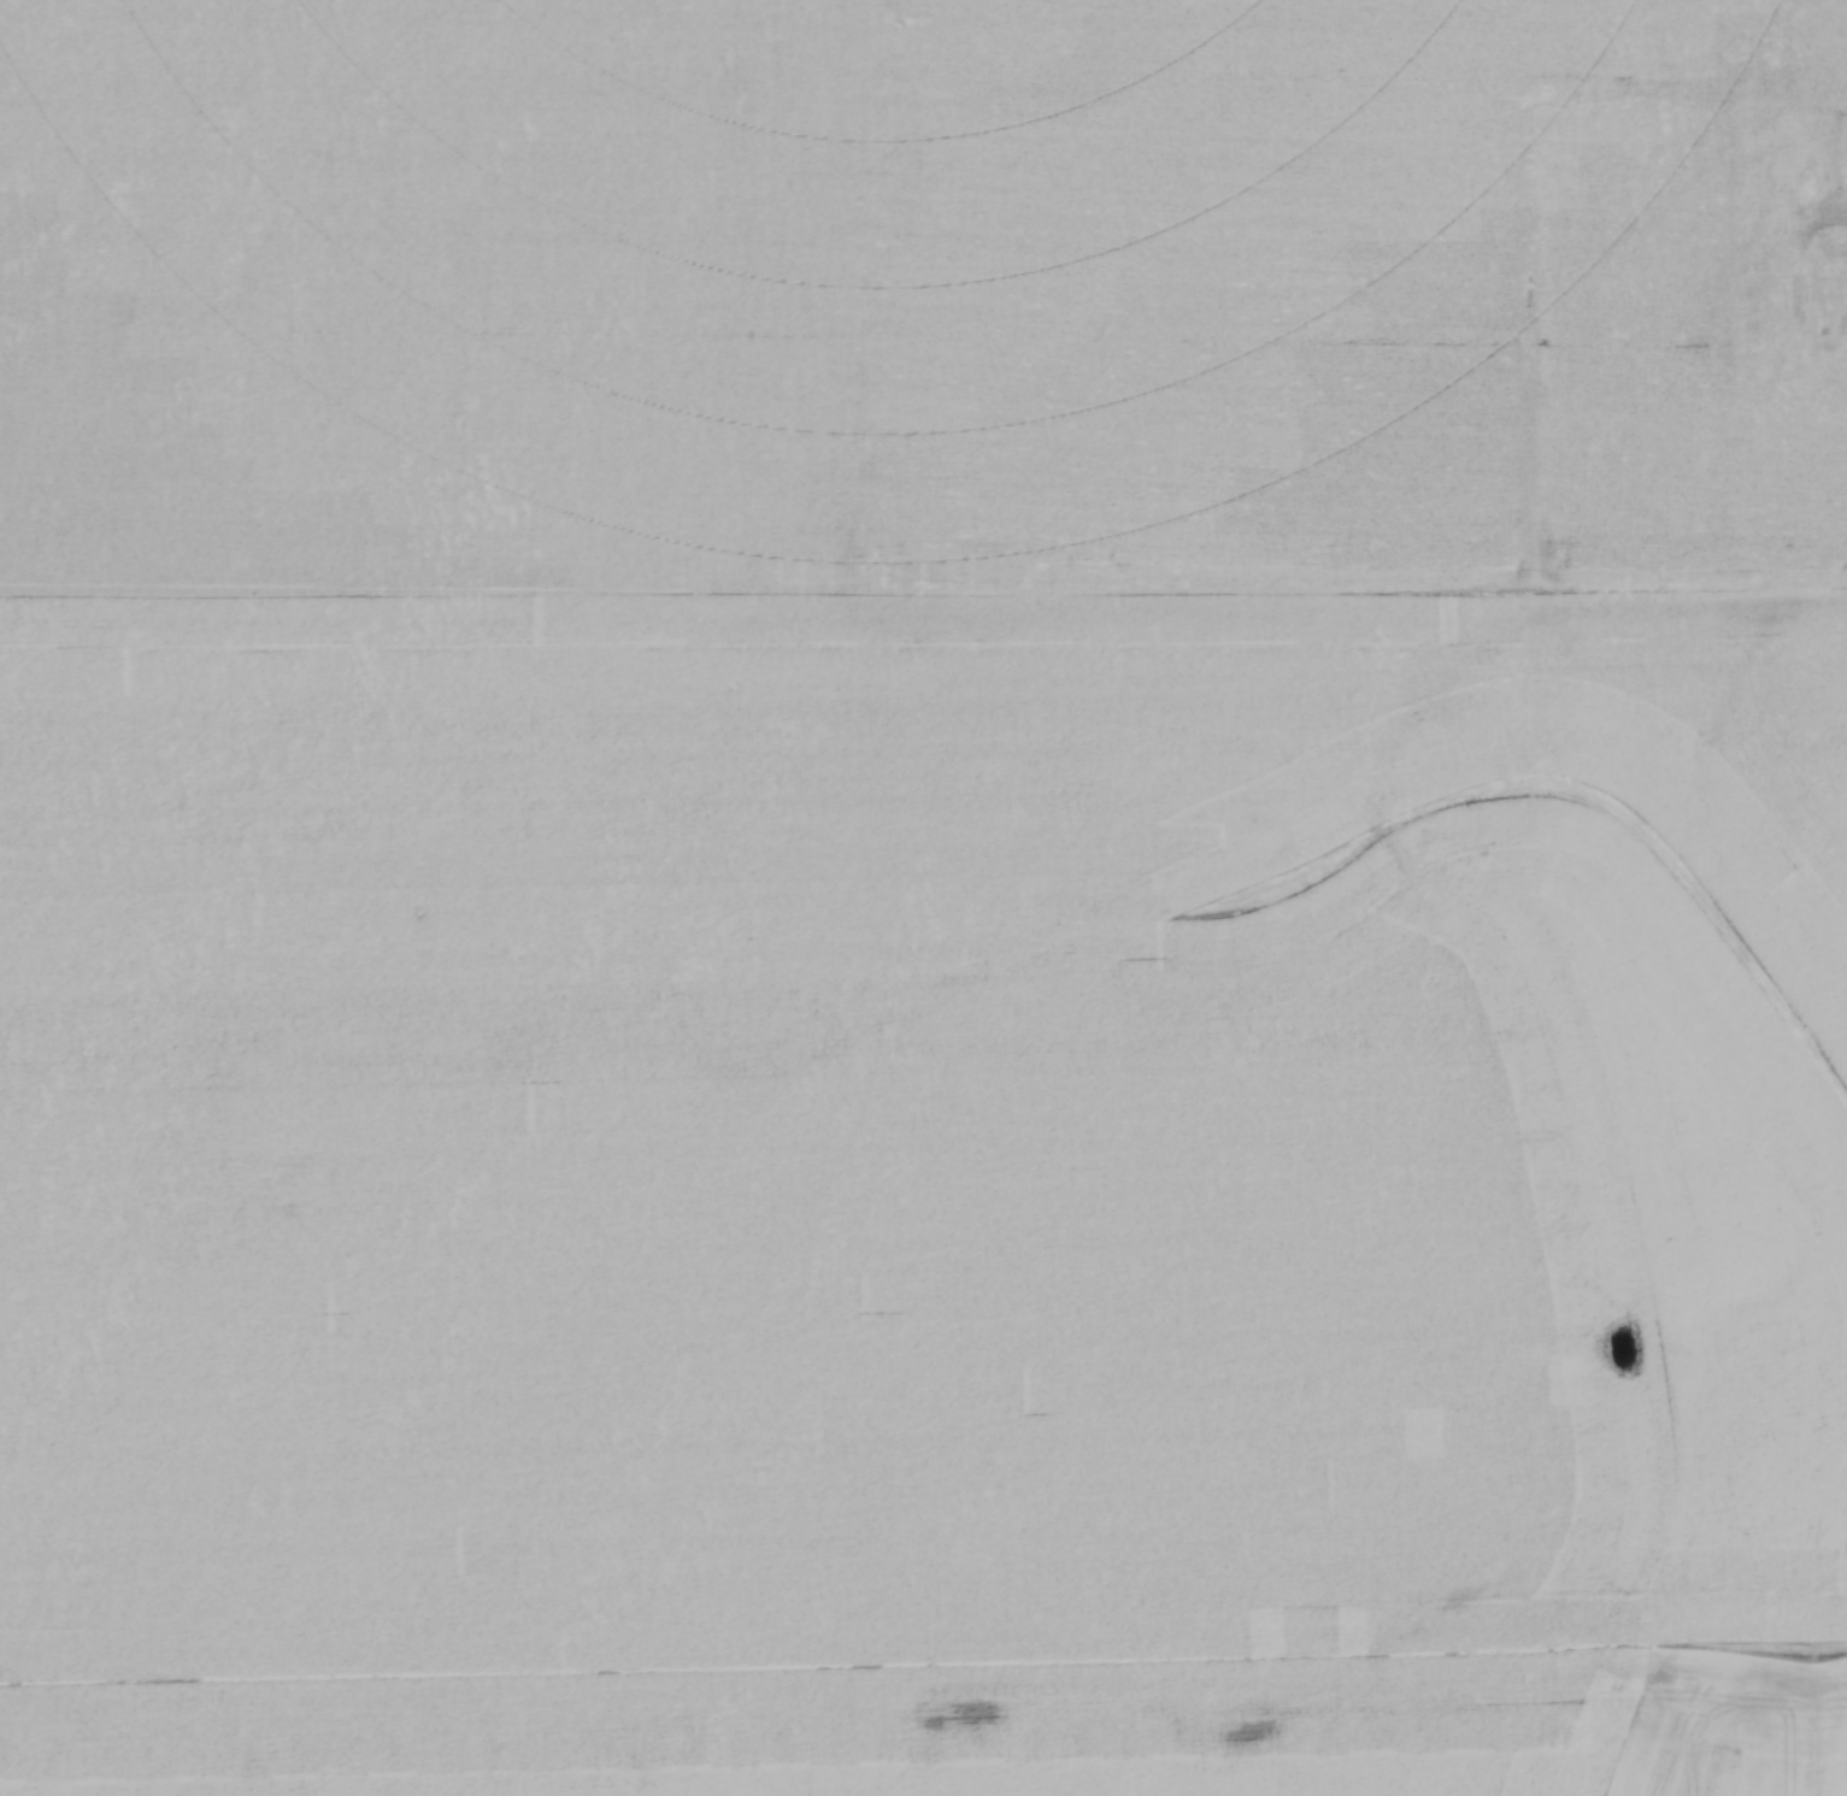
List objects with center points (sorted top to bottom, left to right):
building: (1825, 192)
road: (1823, 202)
building: (1798, 299)

